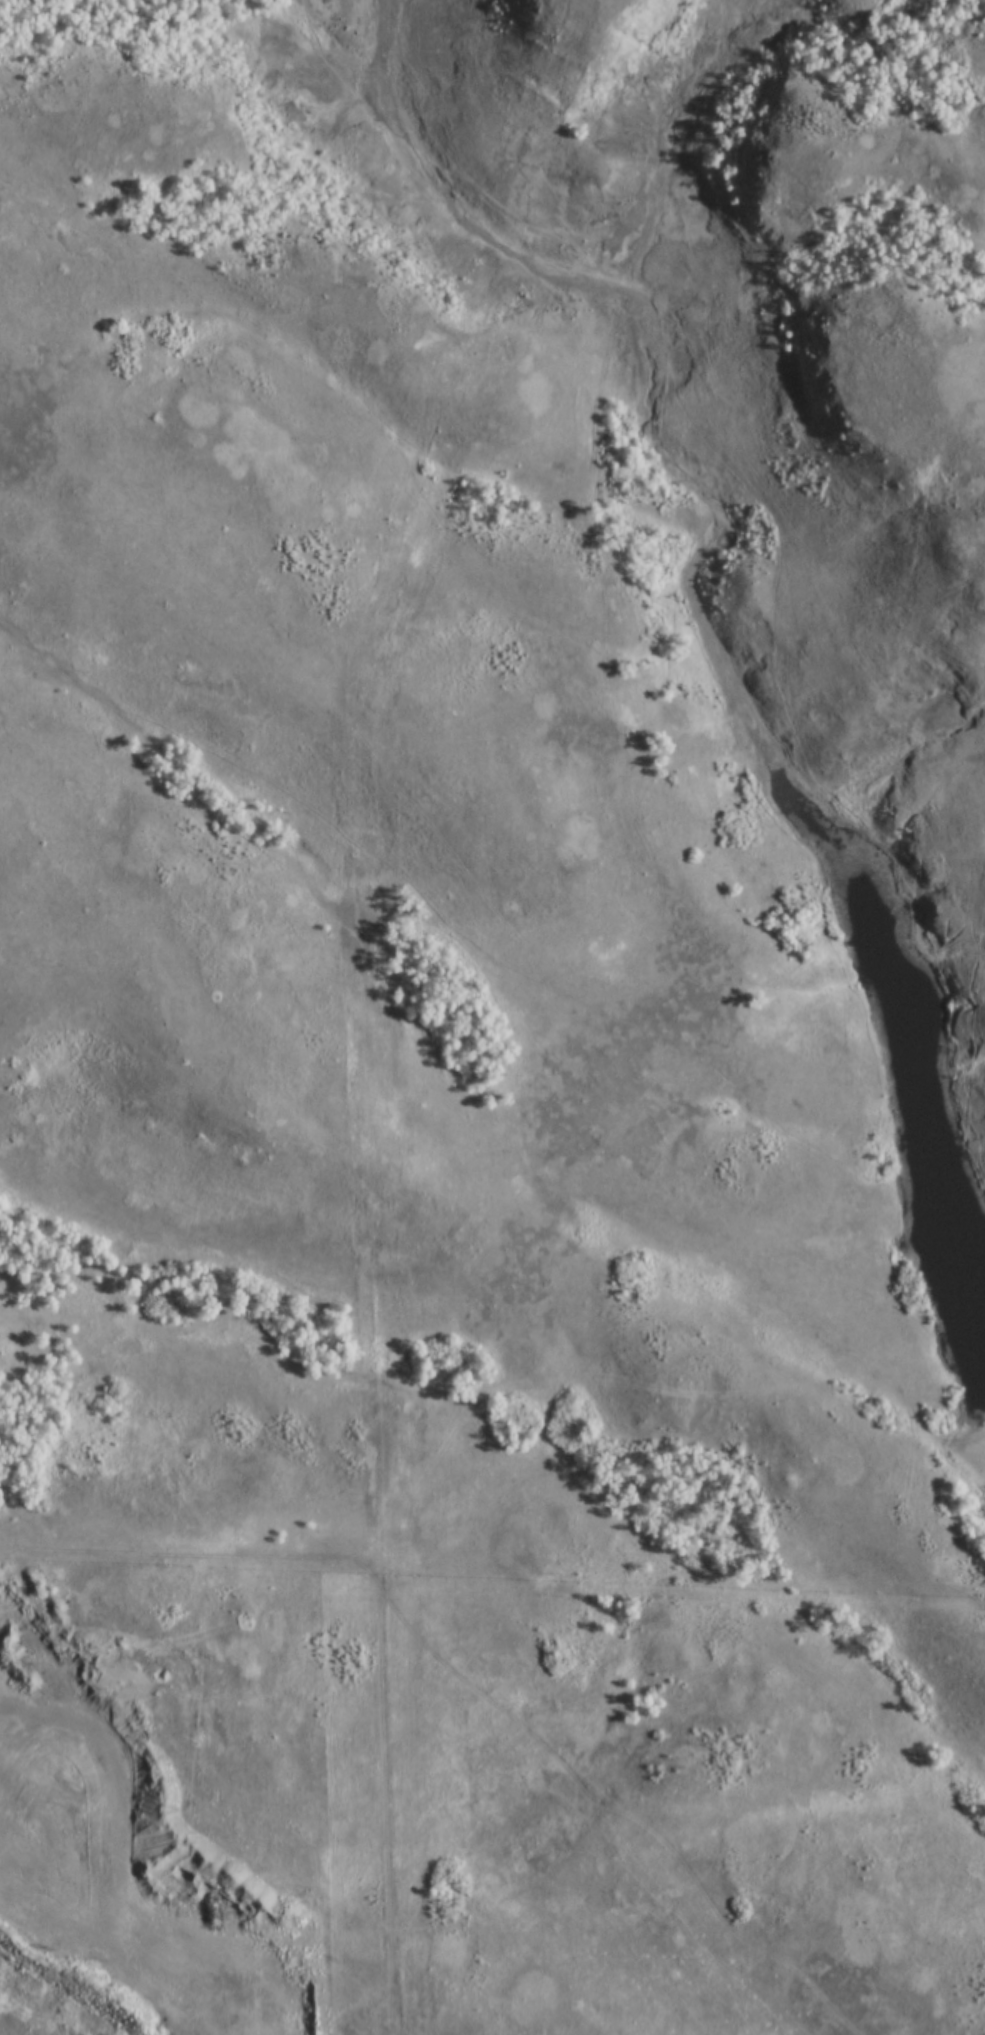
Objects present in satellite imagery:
quarry: (95, 1797)

